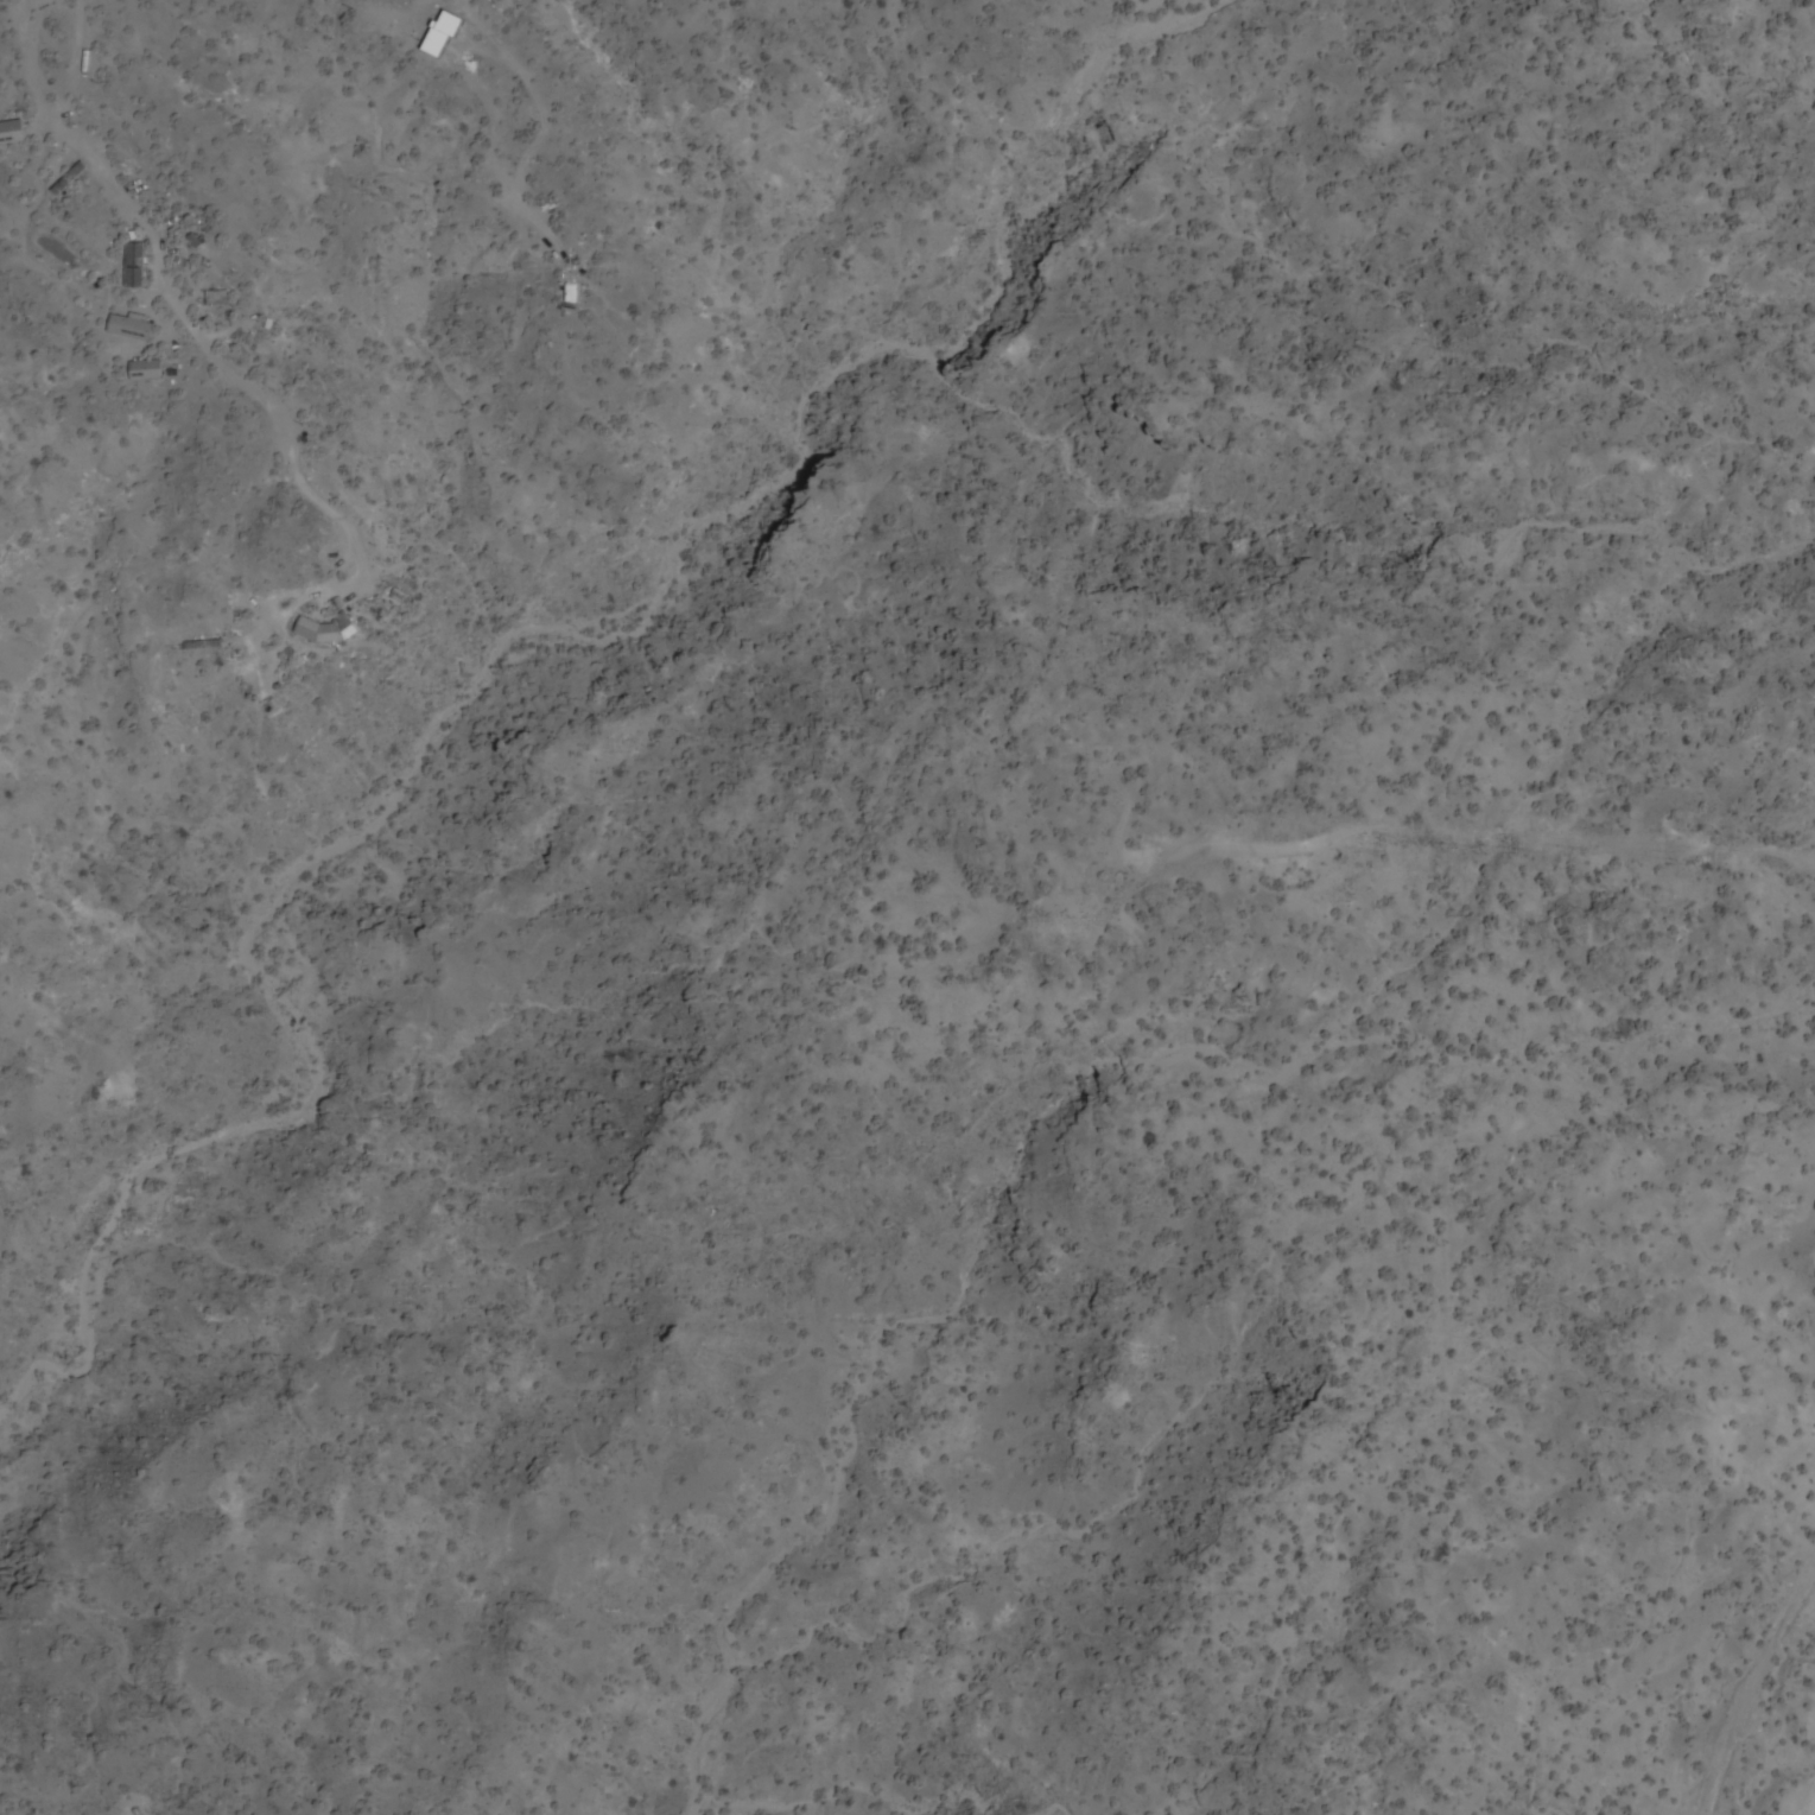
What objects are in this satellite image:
road: (53, 120)
building: (13, 133)
building: (135, 267)
building: (217, 299)
building: (131, 329)
building: (147, 372)
building: (328, 630)
road: (1757, 1694)

